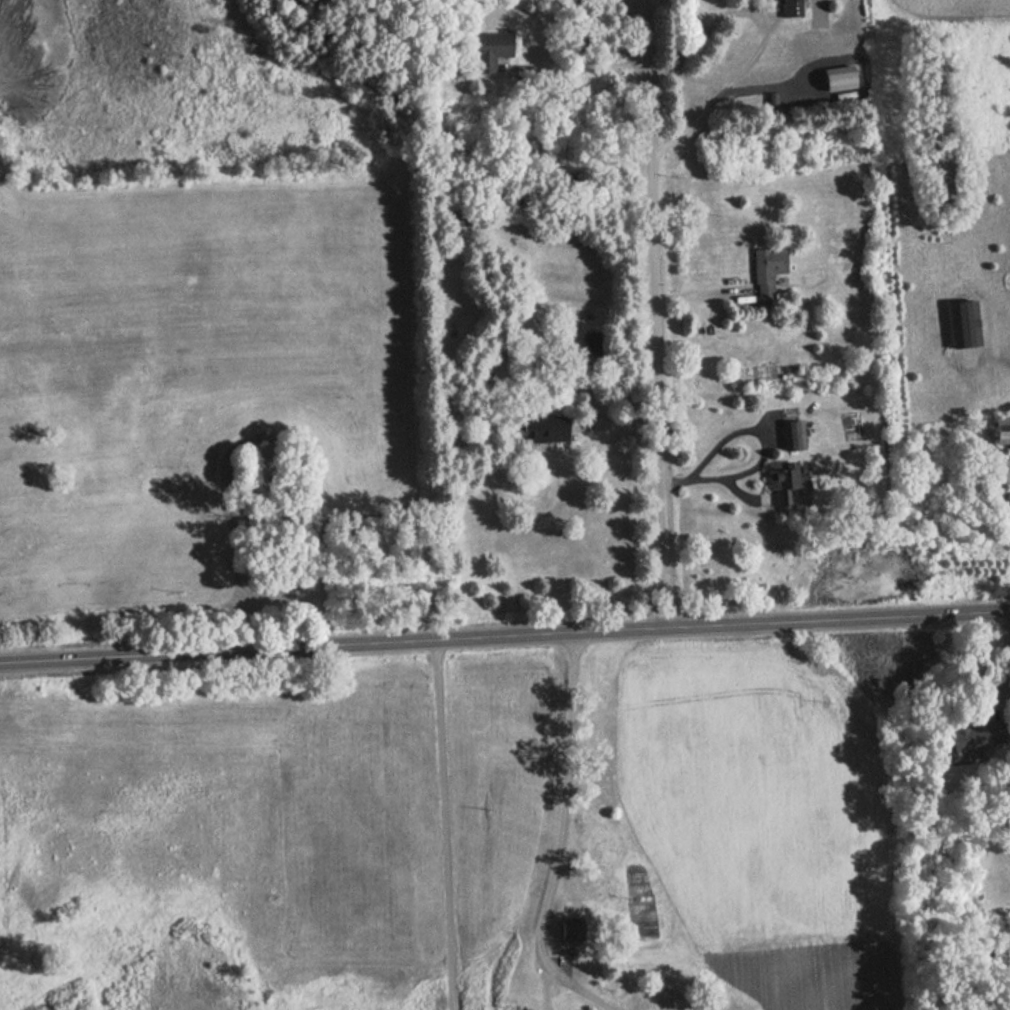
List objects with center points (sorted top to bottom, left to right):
building: (785, 8)
road: (762, 40)
building: (489, 50)
road: (583, 69)
road: (701, 77)
building: (765, 269)
road: (652, 313)
building: (960, 321)
road: (754, 425)
building: (543, 428)
building: (999, 429)
road: (983, 433)
building: (790, 434)
building: (783, 480)
road: (505, 637)
road: (1005, 665)
road: (444, 825)
road: (560, 839)
building: (566, 927)
road: (545, 988)

